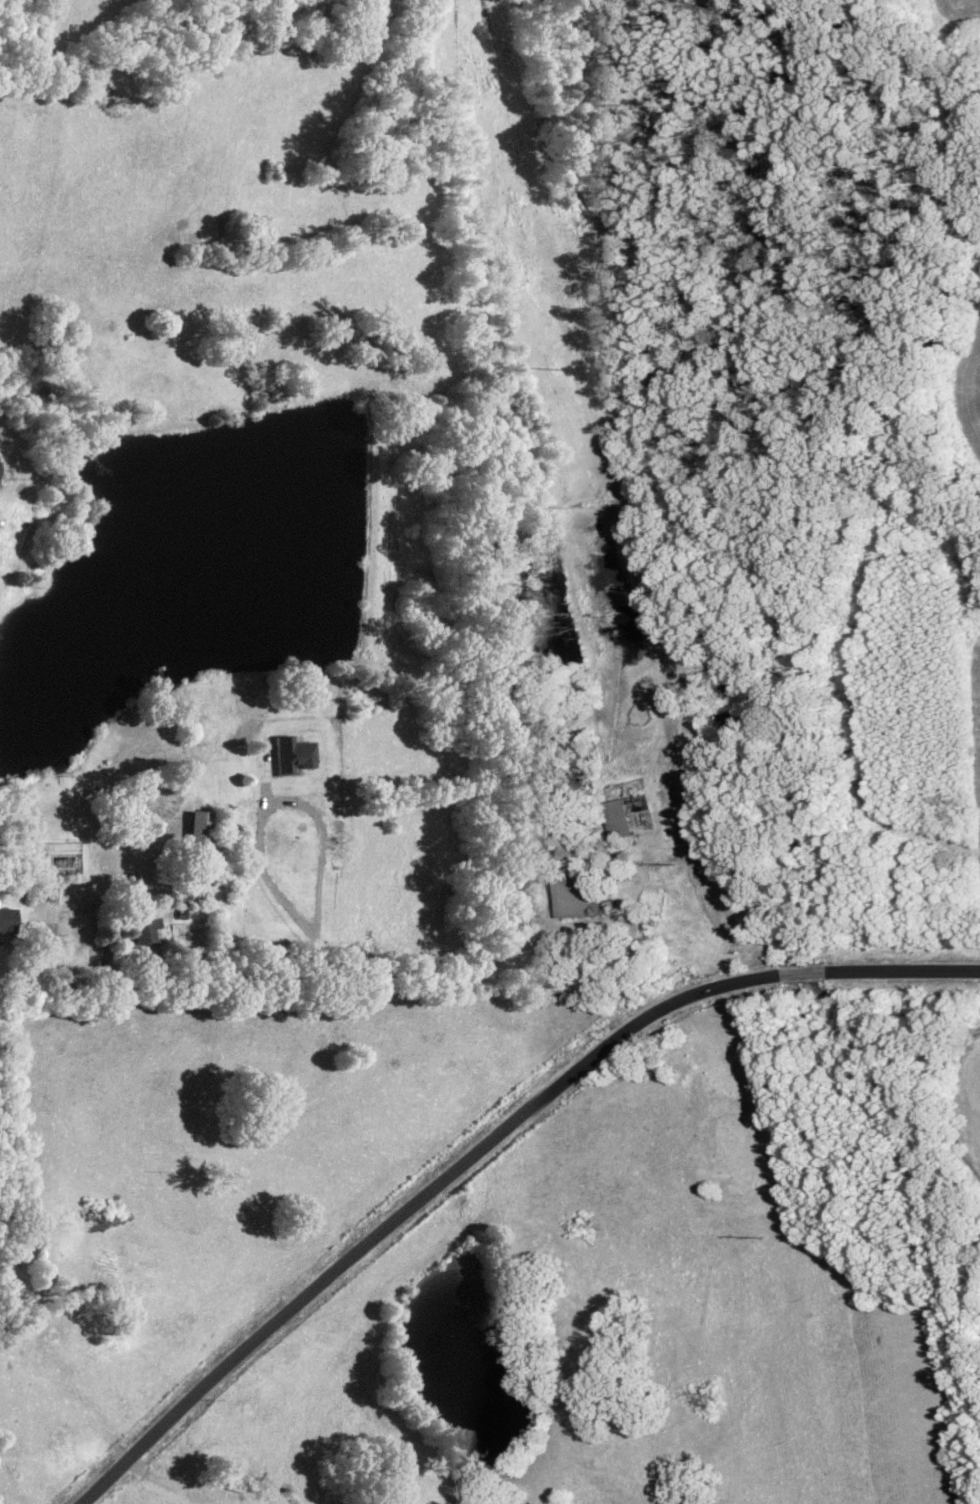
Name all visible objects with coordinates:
building: (292, 754)
road: (297, 803)
building: (616, 818)
building: (199, 826)
building: (41, 887)
building: (182, 895)
building: (575, 895)
building: (7, 919)
building: (144, 930)
road: (323, 974)
road: (483, 1139)

